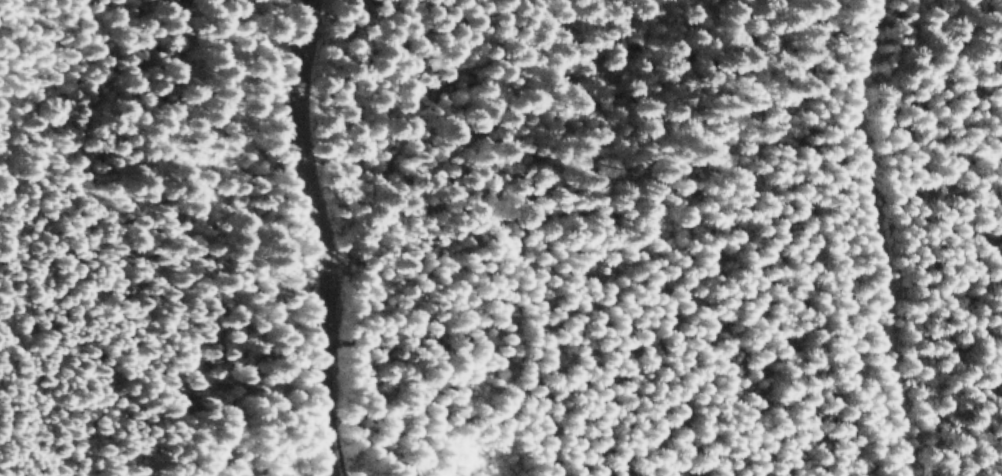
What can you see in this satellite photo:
road: (313, 237)

